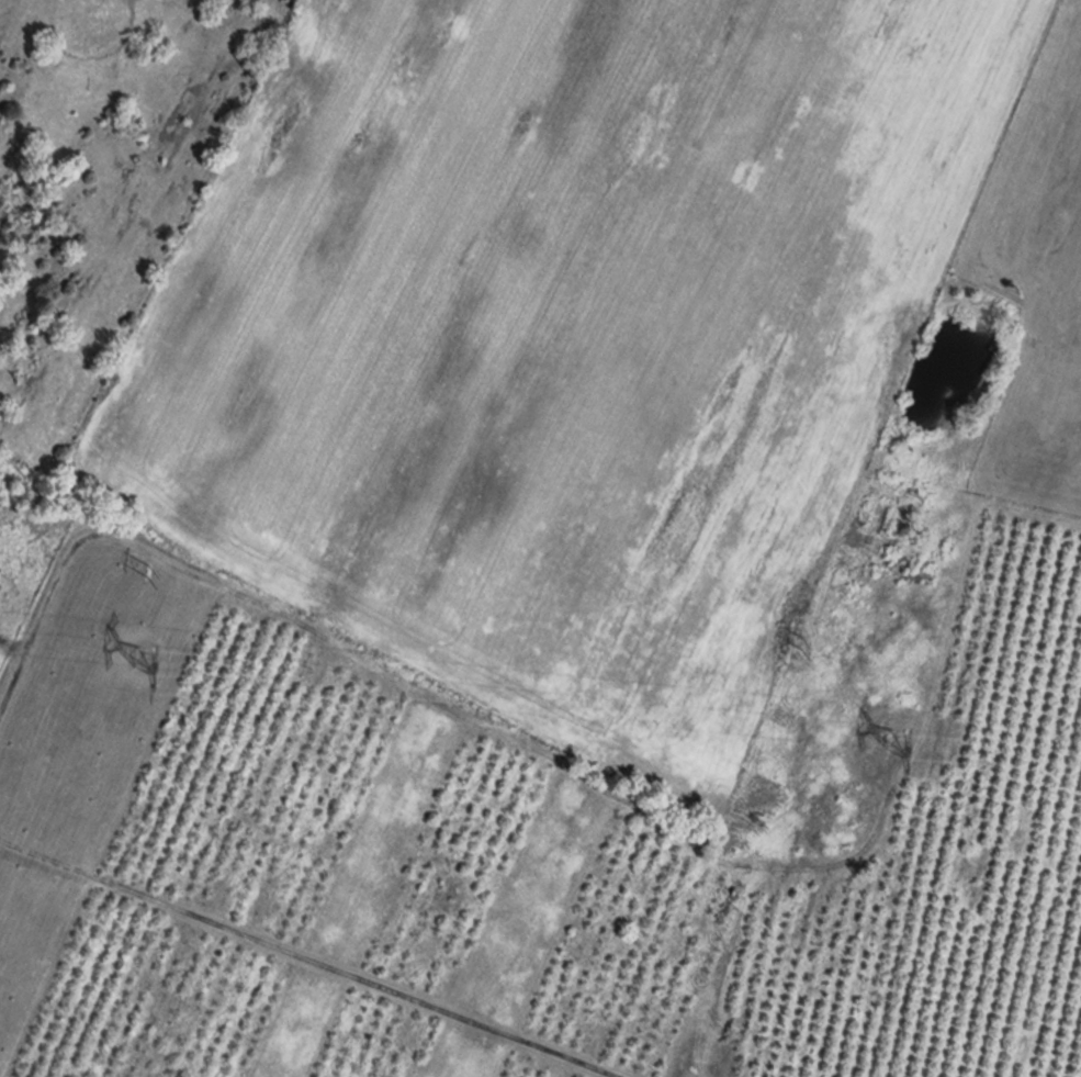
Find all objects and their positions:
power tower: (146, 553)
power tower: (159, 631)
power tower: (935, 641)
power tower: (942, 720)
road: (304, 960)

